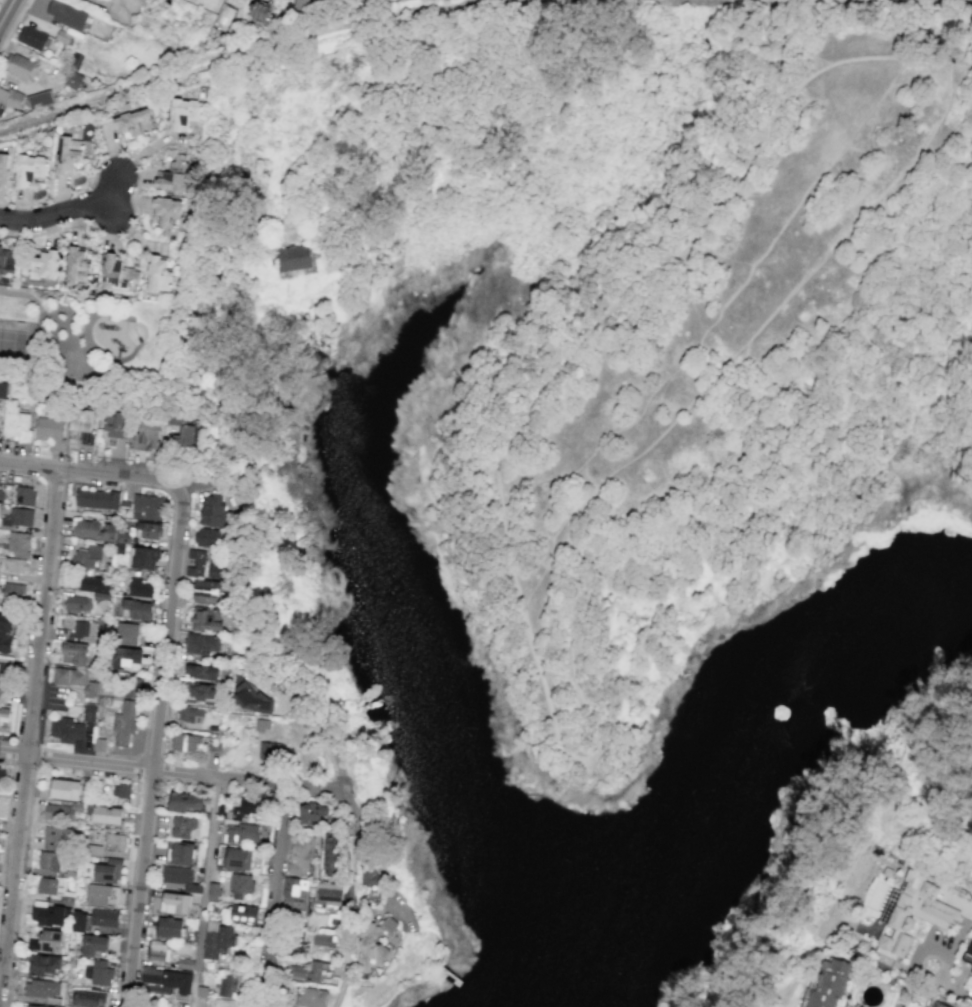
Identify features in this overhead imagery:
building: (388, 0)
railway: (945, 0)
building: (300, 4)
road: (110, 8)
road: (4, 9)
building: (259, 11)
building: (66, 14)
building: (224, 16)
road: (12, 23)
building: (31, 38)
road: (965, 51)
railway: (242, 55)
building: (20, 66)
building: (72, 80)
building: (10, 98)
building: (39, 99)
building: (182, 114)
building: (132, 124)
building: (67, 154)
building: (3, 169)
building: (29, 169)
building: (173, 175)
road: (138, 184)
building: (167, 214)
road: (68, 215)
building: (290, 258)
building: (6, 261)
building: (40, 265)
building: (77, 265)
building: (118, 273)
building: (161, 276)
park: (19, 341)
road: (750, 341)
road: (62, 343)
park: (105, 346)
road: (82, 352)
road: (109, 360)
park: (70, 366)
building: (101, 377)
road: (222, 382)
building: (2, 389)
building: (16, 420)
building: (83, 424)
building: (116, 425)
building: (185, 430)
building: (50, 431)
building: (147, 436)
road: (92, 472)
building: (1, 496)
building: (24, 496)
building: (97, 499)
park: (646, 504)
building: (146, 507)
building: (212, 510)
building: (21, 517)
building: (93, 530)
building: (147, 530)
building: (206, 538)
building: (18, 544)
building: (86, 556)
building: (144, 558)
building: (195, 563)
building: (15, 565)
building: (215, 571)
building: (95, 587)
building: (139, 588)
building: (13, 591)
building: (205, 591)
building: (77, 603)
building: (134, 610)
building: (205, 619)
building: (83, 630)
building: (5, 632)
building: (126, 634)
building: (200, 644)
building: (74, 653)
building: (126, 659)
road: (537, 665)
building: (4, 672)
building: (200, 672)
building: (74, 680)
building: (132, 688)
building: (199, 694)
building: (4, 707)
building: (188, 713)
building: (88, 714)
building: (124, 722)
building: (262, 725)
road: (29, 729)
building: (66, 730)
building: (187, 742)
building: (98, 745)
road: (155, 748)
building: (269, 751)
road: (171, 774)
building: (1, 778)
building: (63, 789)
building: (120, 791)
building: (185, 802)
building: (244, 808)
building: (58, 812)
building: (311, 812)
building: (104, 814)
road: (6, 818)
building: (181, 826)
building: (240, 833)
building: (57, 838)
building: (114, 843)
road: (349, 849)
building: (179, 853)
building: (329, 854)
building: (300, 857)
building: (235, 858)
building: (48, 861)
building: (107, 871)
building: (368, 877)
building: (180, 878)
building: (240, 885)
building: (50, 886)
building: (293, 893)
road: (207, 894)
building: (327, 894)
building: (101, 895)
road: (270, 898)
building: (174, 903)
building: (47, 914)
building: (243, 914)
building: (912, 915)
building: (104, 917)
building: (79, 922)
building: (387, 925)
building: (169, 927)
road: (959, 937)
building: (217, 939)
building: (323, 940)
building: (46, 941)
building: (93, 945)
building: (158, 951)
building: (369, 953)
building: (968, 954)
building: (43, 965)
building: (98, 972)
building: (310, 972)
building: (168, 980)
building: (227, 985)
building: (826, 985)
road: (935, 985)
building: (306, 997)
building: (88, 999)
building: (934, 1004)
building: (30, 1006)

